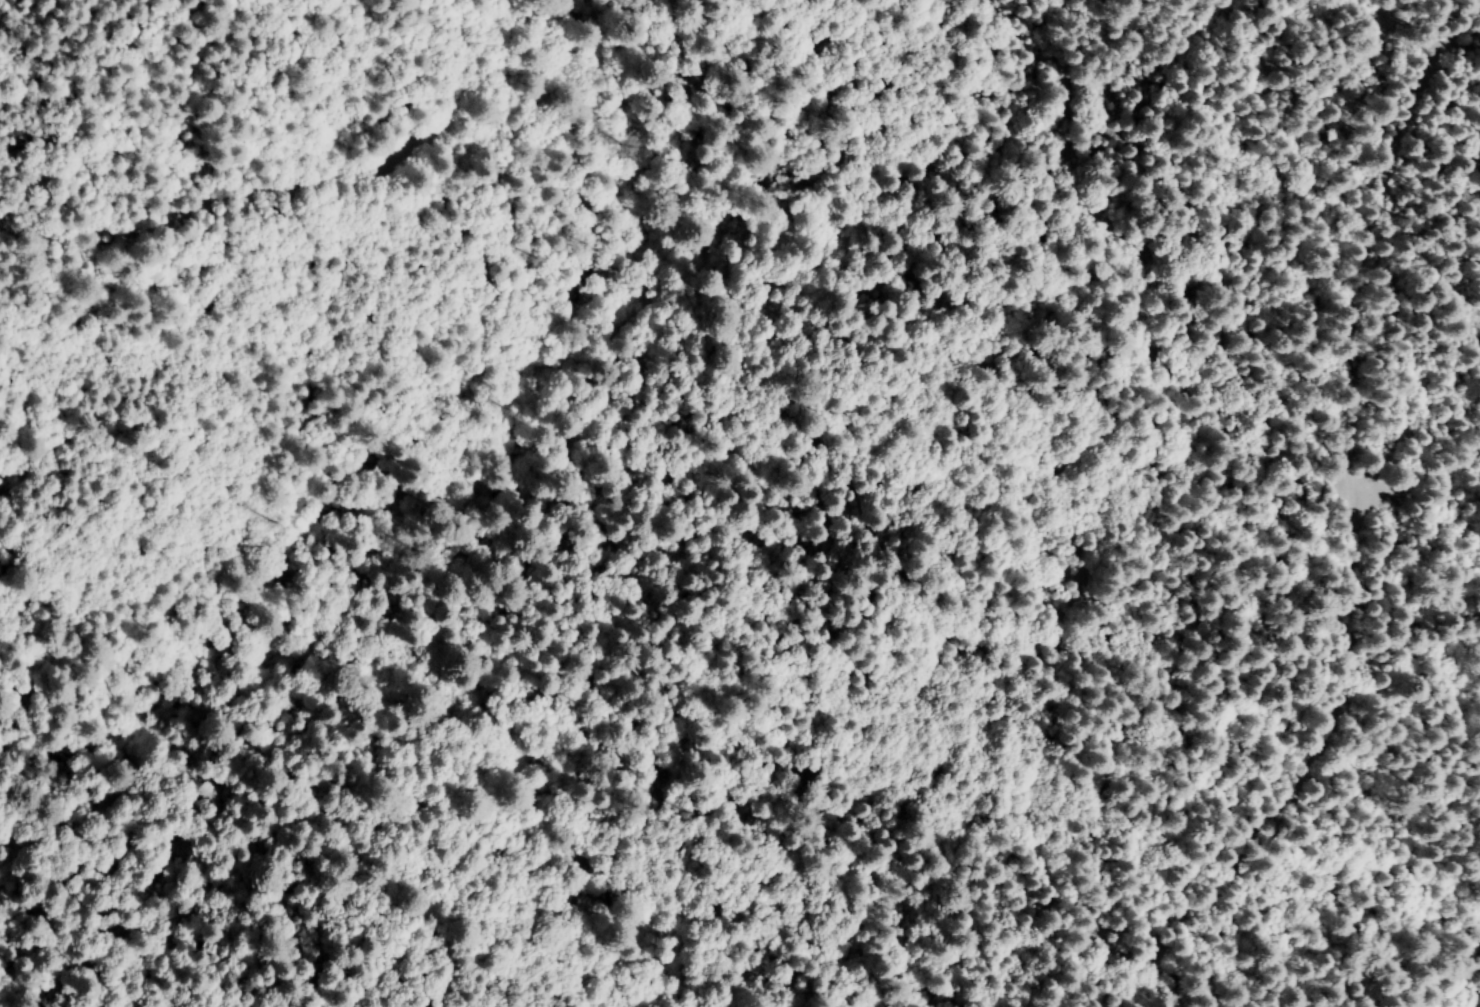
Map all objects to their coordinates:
road: (270, 167)
road: (1126, 908)

